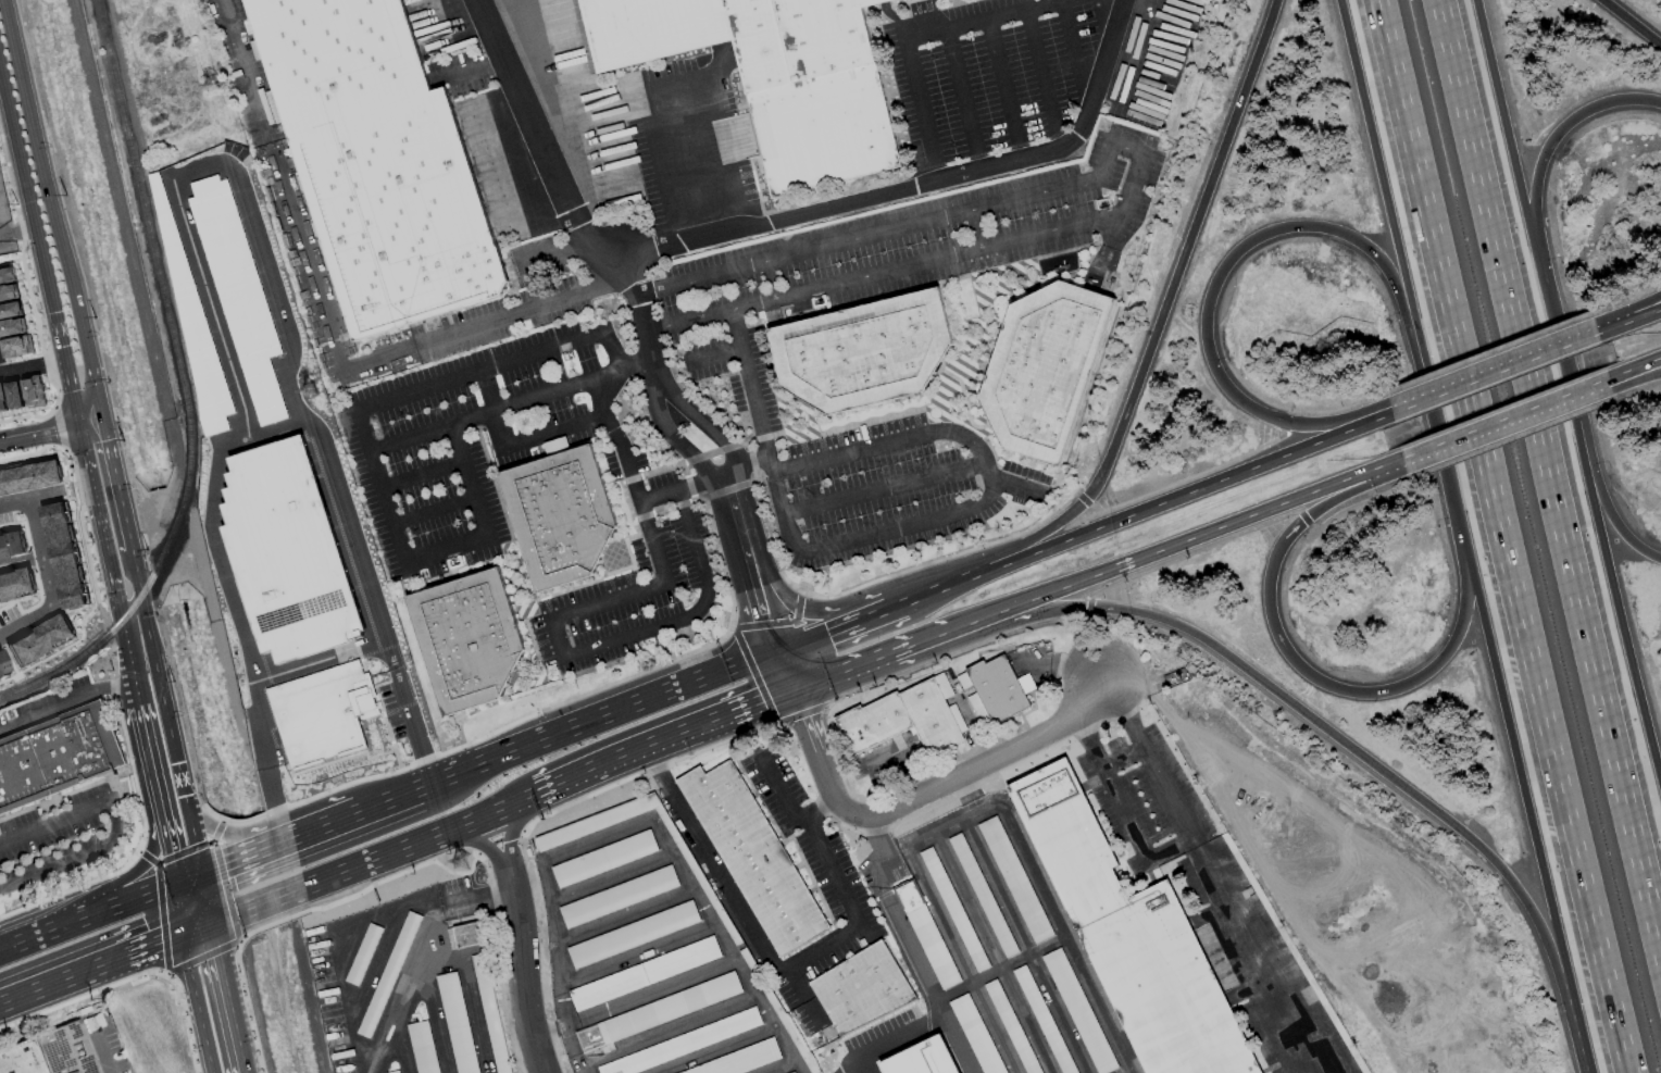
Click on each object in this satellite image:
road: (981, 20)
road: (1628, 24)
road: (1072, 46)
building: (771, 75)
road: (1041, 78)
power tower: (211, 79)
road: (684, 82)
road: (1002, 89)
road: (961, 100)
road: (919, 110)
road: (1503, 116)
road: (652, 121)
road: (1559, 130)
road: (538, 144)
road: (1125, 148)
road: (725, 151)
building: (382, 159)
road: (682, 162)
road: (198, 166)
road: (651, 186)
road: (857, 200)
power substation: (10, 210)
road: (51, 210)
road: (292, 221)
road: (885, 232)
road: (976, 232)
park: (1109, 249)
road: (39, 251)
road: (525, 258)
road: (1398, 258)
road: (1225, 264)
road: (916, 267)
building: (7, 275)
road: (770, 282)
road: (1172, 282)
building: (8, 291)
building: (238, 296)
road: (1627, 298)
building: (186, 302)
building: (10, 309)
road: (523, 313)
road: (1628, 319)
road: (1628, 325)
building: (11, 326)
road: (1551, 327)
building: (15, 347)
building: (861, 355)
road: (1481, 355)
road: (18, 369)
building: (1045, 369)
road: (478, 370)
road: (1633, 370)
road: (1493, 377)
road: (1633, 377)
power tower: (309, 382)
railway: (183, 386)
road: (1645, 388)
building: (32, 392)
building: (13, 395)
building: (1, 401)
road: (510, 403)
road: (1327, 411)
building: (760, 412)
road: (1281, 421)
road: (1502, 421)
road: (90, 423)
road: (707, 425)
road: (914, 433)
road: (39, 434)
road: (251, 436)
road: (1516, 437)
road: (516, 440)
road: (679, 440)
building: (554, 446)
road: (745, 463)
road: (420, 474)
building: (28, 475)
road: (1548, 475)
road: (1184, 479)
road: (1213, 483)
road: (116, 485)
road: (885, 490)
road: (657, 496)
road: (1081, 500)
road: (1601, 502)
road: (432, 509)
building: (558, 520)
road: (1504, 536)
road: (789, 538)
building: (10, 542)
road: (1182, 545)
building: (285, 551)
road: (446, 552)
building: (61, 556)
road: (750, 559)
road: (992, 560)
road: (931, 562)
road: (109, 565)
road: (996, 566)
road: (41, 569)
building: (14, 582)
road: (927, 590)
road: (799, 592)
road: (782, 597)
road: (871, 604)
road: (1614, 609)
traffic signals: (769, 620)
road: (839, 623)
traffic signals: (824, 629)
road: (954, 631)
road: (555, 632)
building: (37, 639)
building: (465, 639)
road: (150, 648)
road: (740, 648)
road: (314, 661)
road: (870, 663)
building: (2, 664)
road: (1063, 667)
road: (785, 669)
road: (1308, 676)
road: (686, 682)
building: (991, 690)
road: (66, 700)
traffic signals: (762, 704)
building: (320, 713)
traffic signals: (803, 718)
building: (904, 718)
road: (709, 724)
road: (1342, 746)
road: (505, 753)
road: (1124, 756)
building: (57, 759)
road: (150, 760)
road: (179, 777)
road: (579, 777)
road: (1115, 783)
road: (923, 791)
road: (965, 793)
road: (1521, 795)
road: (385, 800)
road: (814, 806)
road: (491, 812)
building: (602, 821)
road: (113, 824)
road: (315, 827)
road: (215, 829)
road: (505, 834)
road: (225, 837)
road: (596, 838)
road: (811, 839)
road: (193, 840)
road: (480, 841)
road: (170, 848)
road: (1169, 850)
road: (183, 852)
traffic signals: (172, 853)
road: (146, 857)
building: (751, 857)
power tower: (463, 858)
road: (238, 859)
building: (602, 859)
road: (711, 863)
traffic signals: (222, 866)
road: (141, 868)
road: (609, 873)
road: (329, 875)
road: (1208, 876)
road: (188, 878)
building: (1013, 879)
road: (71, 888)
road: (224, 890)
building: (981, 895)
road: (138, 897)
building: (616, 897)
road: (205, 898)
road: (476, 902)
road: (179, 909)
road: (622, 913)
road: (160, 918)
road: (942, 925)
road: (196, 927)
road: (1059, 927)
road: (51, 929)
building: (630, 934)
building: (925, 935)
building: (464, 936)
building: (1136, 941)
traffic signals: (159, 943)
road: (909, 948)
traffic signals: (217, 953)
road: (817, 953)
road: (635, 955)
road: (201, 956)
road: (90, 968)
road: (711, 969)
road: (521, 970)
building: (642, 973)
road: (465, 985)
building: (859, 988)
road: (82, 996)
road: (226, 997)
road: (196, 1003)
road: (247, 1007)
building: (1077, 1011)
building: (657, 1012)
road: (182, 1022)
building: (455, 1023)
road: (667, 1028)
road: (548, 1031)
building: (977, 1037)
building: (1016, 1039)
road: (892, 1040)
building: (680, 1044)
building: (422, 1047)
road: (574, 1048)
road: (713, 1049)
building: (51, 1051)
road: (103, 1053)
building: (923, 1058)
building: (738, 1061)
road: (773, 1064)
building: (395, 1072)

